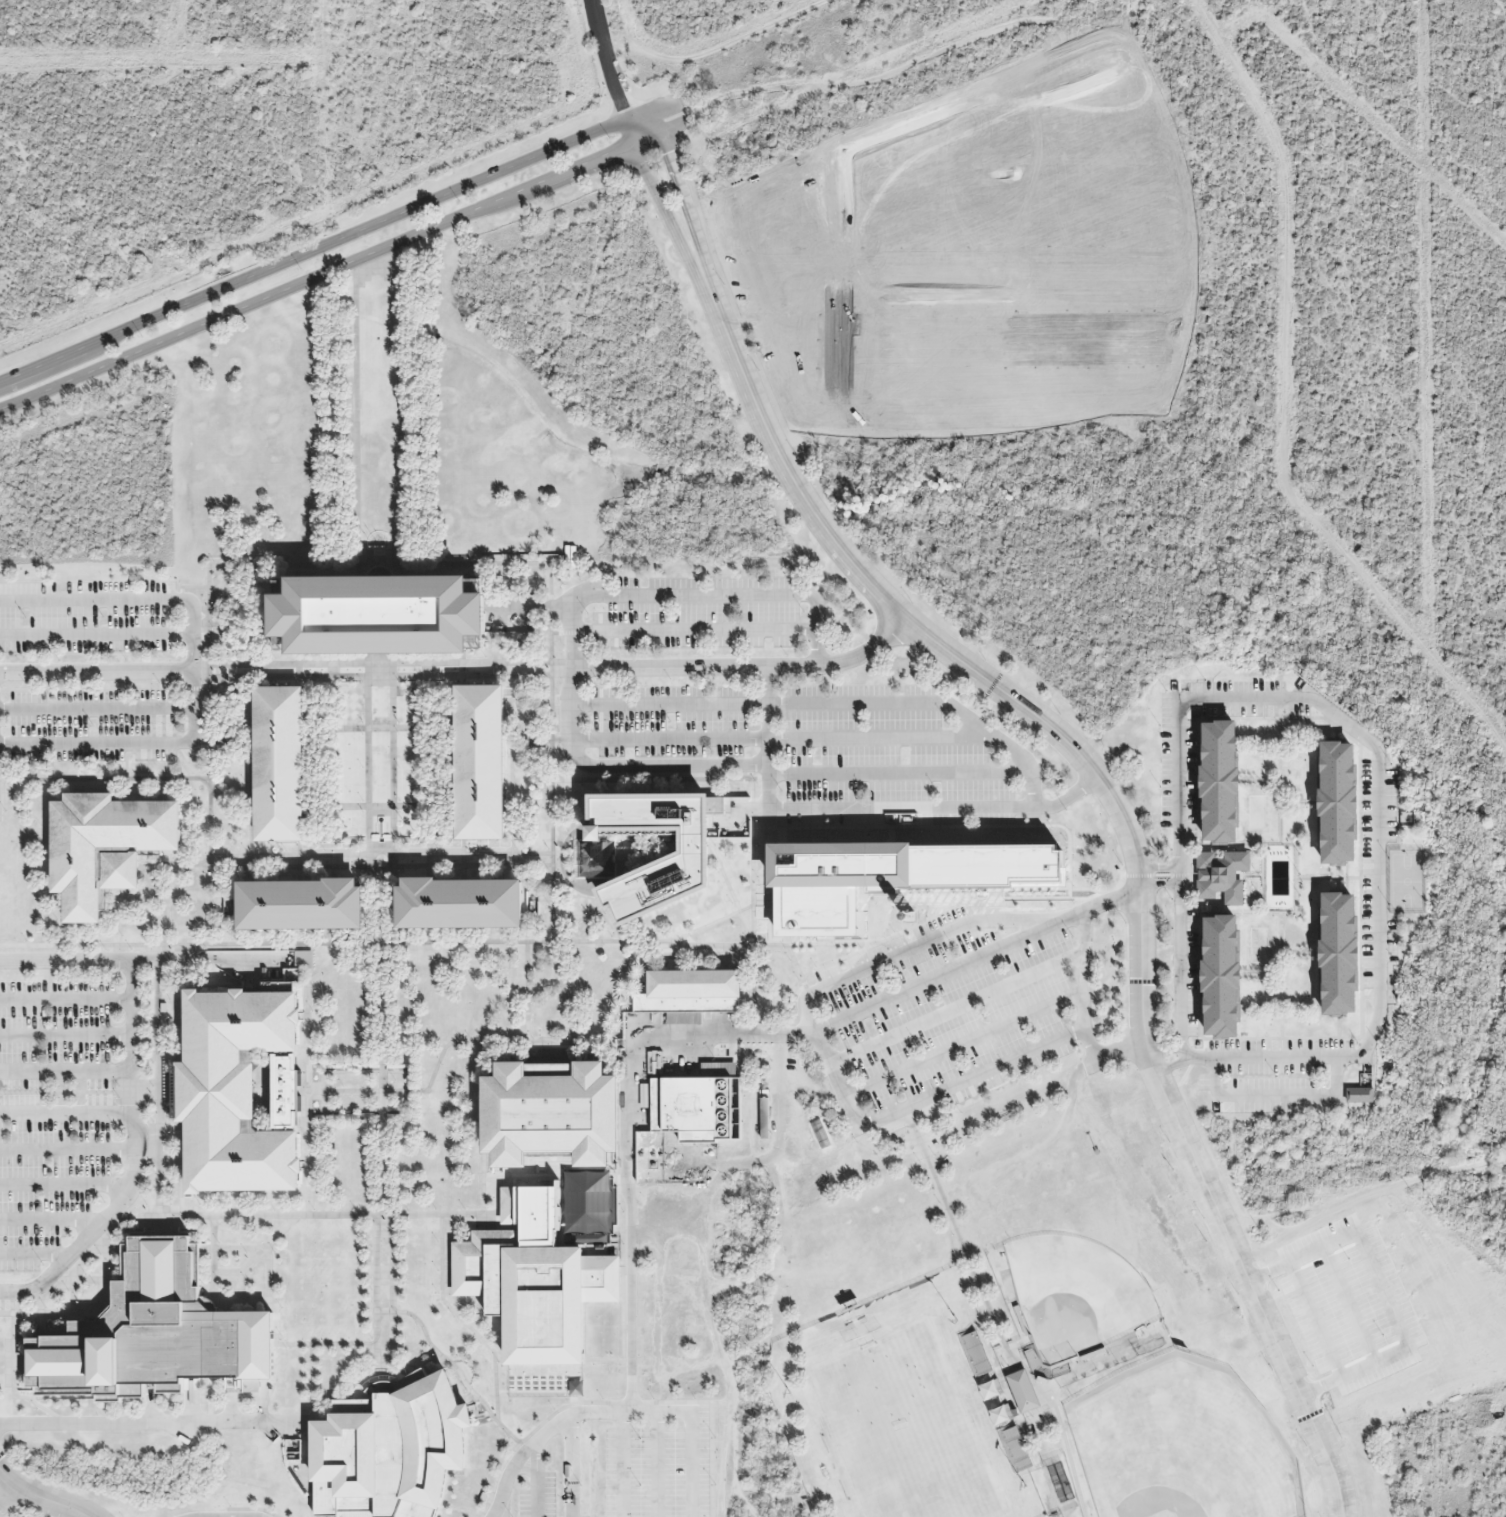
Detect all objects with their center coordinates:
road: (609, 59)
road: (657, 120)
road: (663, 207)
road: (688, 211)
road: (326, 243)
road: (330, 269)
road: (391, 412)
road: (355, 420)
road: (783, 465)
road: (379, 562)
road: (703, 595)
road: (577, 599)
road: (97, 601)
parking lot: (699, 611)
building: (374, 614)
parking lot: (87, 617)
road: (817, 622)
road: (694, 628)
road: (561, 630)
road: (96, 633)
road: (865, 650)
road: (381, 659)
road: (694, 667)
road: (194, 670)
road: (383, 670)
road: (97, 674)
road: (757, 703)
road: (97, 705)
road: (1338, 720)
parking lot: (672, 722)
parking lot: (94, 725)
road: (379, 728)
road: (780, 735)
road: (772, 737)
road: (98, 741)
road: (1005, 742)
road: (211, 754)
parking lot: (885, 761)
building: (479, 762)
building: (279, 764)
road: (393, 766)
road: (367, 767)
road: (608, 768)
road: (902, 774)
road: (105, 779)
road: (652, 779)
building: (1215, 782)
road: (1110, 795)
road: (571, 800)
building: (1335, 802)
road: (379, 806)
road: (939, 806)
road: (551, 812)
park: (1256, 812)
road: (921, 826)
road: (767, 829)
road: (44, 834)
building: (102, 847)
road: (1067, 859)
building: (591, 860)
road: (343, 863)
road: (1157, 868)
building: (670, 869)
road: (719, 870)
building: (889, 877)
building: (1218, 877)
park: (1405, 878)
road: (1158, 885)
road: (753, 899)
road: (973, 899)
road: (1111, 901)
building: (460, 903)
building: (301, 905)
road: (713, 922)
road: (575, 924)
road: (614, 926)
road: (931, 941)
road: (830, 942)
road: (422, 943)
park: (1258, 945)
road: (748, 946)
building: (1336, 954)
road: (144, 959)
road: (196, 968)
road: (949, 972)
road: (1084, 972)
building: (1217, 976)
building: (691, 984)
road: (65, 998)
road: (525, 1002)
road: (306, 1005)
road: (956, 1007)
parking lot: (947, 1009)
road: (131, 1014)
road: (65, 1033)
road: (723, 1034)
road: (546, 1043)
road: (964, 1045)
road: (157, 1050)
road: (1161, 1051)
road: (1188, 1054)
road: (1105, 1057)
road: (829, 1063)
road: (1179, 1064)
road: (65, 1070)
road: (970, 1079)
road: (340, 1091)
road: (85, 1092)
building: (230, 1093)
road: (1272, 1095)
building: (1358, 1095)
building: (695, 1108)
parking lot: (53, 1113)
road: (65, 1113)
building: (545, 1114)
road: (381, 1121)
road: (479, 1129)
road: (65, 1151)
road: (306, 1157)
building: (746, 1178)
road: (64, 1186)
road: (293, 1217)
road: (52, 1218)
road: (629, 1221)
road: (97, 1226)
road: (963, 1249)
road: (1303, 1253)
road: (34, 1254)
road: (1386, 1287)
road: (1252, 1290)
building: (531, 1294)
stadium: (1076, 1297)
road: (1351, 1302)
parking lot: (1339, 1307)
road: (1314, 1318)
road: (461, 1321)
building: (146, 1337)
road: (326, 1346)
building: (975, 1353)
road: (1355, 1368)
road: (455, 1374)
building: (990, 1389)
building: (1022, 1392)
road: (192, 1401)
road: (630, 1409)
building: (1001, 1414)
road: (558, 1420)
road: (154, 1422)
park: (904, 1428)
stadium: (1182, 1445)
building: (386, 1450)
road: (691, 1462)
road: (620, 1463)
road: (655, 1463)
parking lot: (657, 1470)
building: (818, 1478)
road: (537, 1480)
road: (38, 1497)
parking lot: (535, 1497)
road: (500, 1510)

